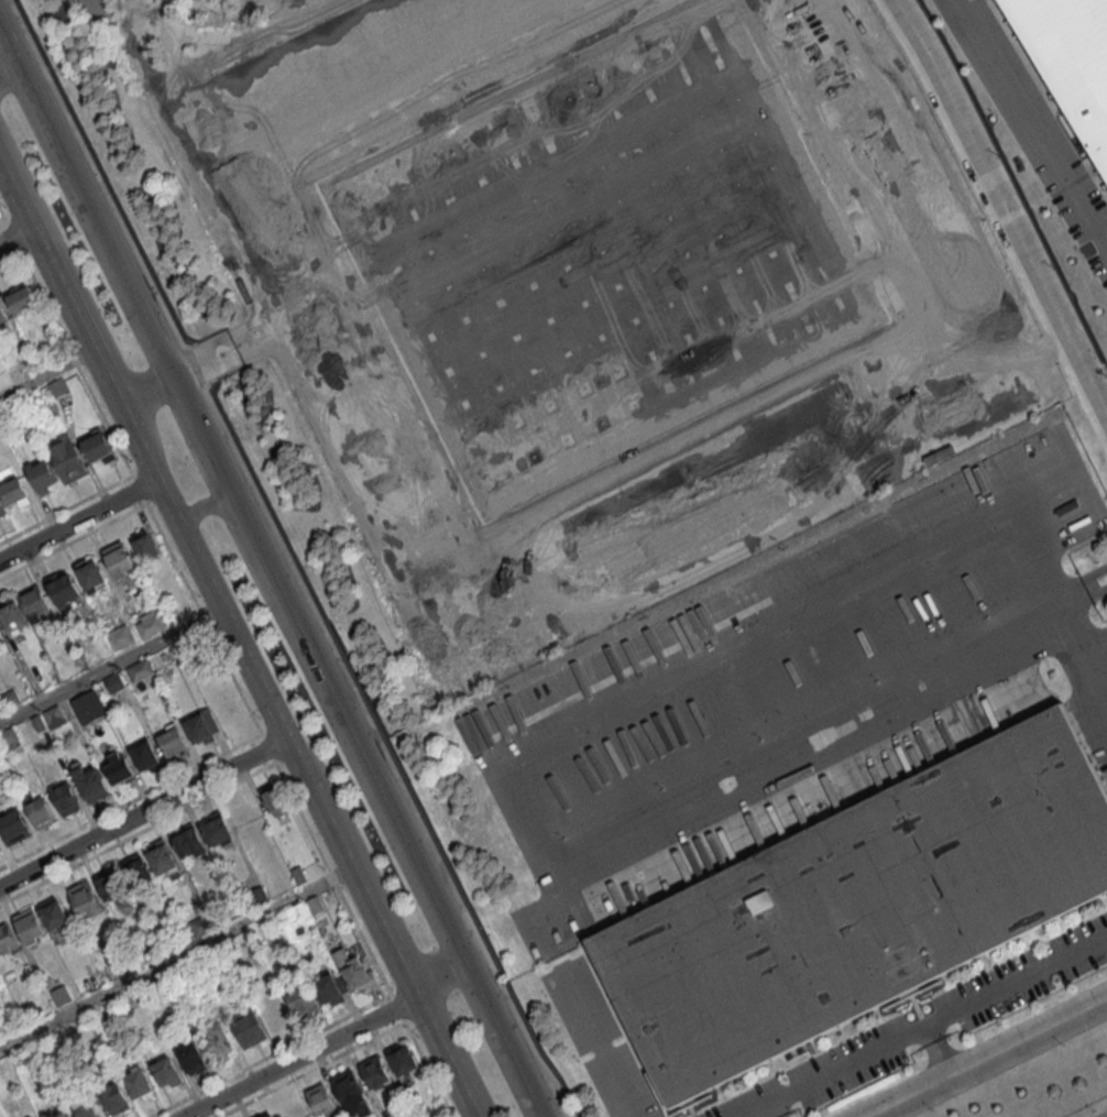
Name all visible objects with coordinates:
road: (567, 6)
road: (798, 33)
building: (1071, 58)
road: (363, 66)
road: (8, 67)
road: (344, 74)
road: (402, 96)
road: (221, 112)
road: (1034, 118)
road: (1004, 205)
road: (1, 213)
road: (1, 217)
road: (18, 231)
road: (956, 274)
building: (21, 298)
building: (2, 317)
road: (46, 373)
road: (143, 387)
building: (97, 447)
building: (66, 458)
building: (42, 475)
building: (11, 490)
road: (233, 503)
road: (208, 507)
road: (78, 519)
building: (144, 545)
building: (119, 559)
building: (90, 574)
road: (205, 574)
road: (404, 587)
building: (63, 588)
building: (35, 604)
building: (12, 616)
building: (149, 623)
building: (0, 636)
building: (120, 636)
road: (111, 664)
building: (140, 670)
parking lot: (794, 672)
building: (113, 681)
building: (88, 707)
road: (843, 715)
building: (200, 727)
building: (11, 741)
building: (172, 742)
building: (145, 756)
building: (118, 768)
building: (89, 784)
building: (64, 798)
building: (274, 801)
building: (39, 810)
road: (142, 812)
building: (13, 826)
building: (216, 828)
building: (187, 841)
building: (162, 858)
building: (136, 868)
building: (297, 874)
building: (111, 885)
building: (85, 899)
building: (861, 906)
building: (52, 912)
building: (201, 923)
building: (29, 926)
building: (7, 939)
road: (176, 957)
building: (354, 971)
road: (443, 984)
building: (328, 989)
building: (61, 995)
building: (303, 1004)
building: (30, 1011)
building: (273, 1015)
parking lot: (924, 1022)
road: (925, 1027)
building: (248, 1028)
parking lot: (598, 1040)
building: (219, 1044)
road: (504, 1044)
road: (299, 1056)
road: (446, 1056)
building: (190, 1058)
building: (402, 1059)
road: (993, 1059)
building: (166, 1072)
building: (374, 1072)
building: (138, 1083)
building: (350, 1092)
building: (114, 1098)
building: (320, 1098)
road: (627, 1099)
building: (84, 1105)
building: (55, 1111)
building: (270, 1115)

